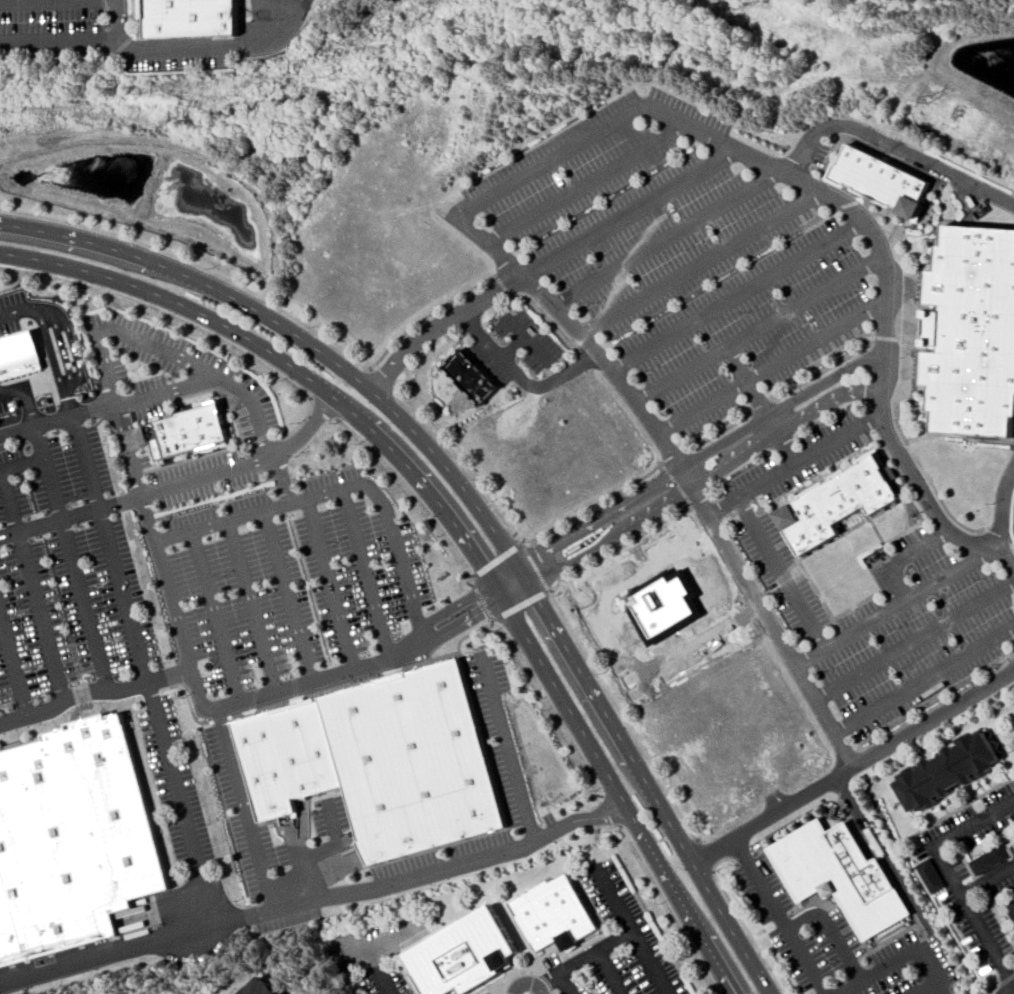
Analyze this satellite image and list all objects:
road: (48, 2)
parking lot: (51, 15)
building: (195, 18)
road: (116, 21)
road: (59, 44)
road: (219, 45)
power tower: (324, 74)
power tower: (930, 98)
road: (894, 145)
building: (887, 182)
road: (586, 183)
road: (461, 214)
road: (632, 214)
road: (668, 240)
parking lot: (687, 255)
road: (702, 264)
road: (737, 296)
road: (265, 299)
road: (18, 310)
road: (548, 316)
road: (442, 324)
road: (193, 326)
road: (758, 332)
building: (974, 333)
road: (889, 338)
road: (528, 342)
road: (72, 346)
road: (903, 346)
road: (61, 348)
parking lot: (519, 348)
road: (515, 349)
road: (50, 352)
road: (169, 354)
building: (19, 356)
road: (772, 370)
road: (825, 370)
parking lot: (174, 372)
road: (354, 377)
building: (476, 377)
road: (521, 377)
road: (382, 380)
road: (143, 398)
road: (23, 399)
road: (338, 402)
road: (763, 404)
road: (324, 407)
road: (764, 407)
road: (67, 409)
road: (34, 429)
building: (189, 431)
road: (719, 431)
road: (672, 457)
road: (20, 463)
road: (688, 464)
road: (796, 467)
road: (134, 474)
parking lot: (201, 478)
road: (281, 478)
road: (177, 484)
road: (676, 484)
road: (692, 486)
road: (416, 498)
building: (840, 502)
road: (1003, 509)
road: (253, 512)
road: (511, 527)
road: (997, 537)
road: (1013, 546)
road: (620, 547)
road: (899, 559)
road: (498, 560)
road: (69, 561)
road: (536, 566)
road: (366, 573)
road: (782, 573)
parking lot: (64, 574)
parking lot: (938, 580)
parking lot: (292, 581)
road: (330, 584)
road: (31, 592)
road: (286, 596)
road: (482, 599)
road: (522, 604)
building: (658, 604)
road: (455, 605)
road: (895, 605)
road: (251, 606)
road: (212, 617)
road: (466, 621)
road: (126, 623)
road: (461, 639)
road: (914, 641)
road: (12, 673)
road: (924, 682)
road: (295, 687)
road: (148, 694)
road: (81, 695)
road: (186, 701)
road: (68, 713)
road: (623, 718)
road: (218, 719)
building: (305, 748)
building: (413, 762)
building: (262, 767)
building: (947, 771)
parking lot: (511, 780)
parking lot: (172, 784)
road: (152, 792)
road: (609, 810)
parking lot: (241, 812)
road: (771, 812)
parking lot: (330, 817)
parking lot: (548, 818)
road: (579, 819)
road: (680, 838)
building: (72, 839)
road: (647, 845)
road: (741, 850)
road: (705, 853)
building: (987, 859)
road: (888, 863)
building: (841, 873)
building: (930, 876)
road: (950, 878)
road: (396, 882)
road: (988, 882)
road: (662, 898)
road: (199, 901)
building: (1012, 907)
road: (992, 910)
building: (557, 914)
road: (739, 916)
road: (230, 919)
road: (633, 929)
road: (786, 929)
road: (832, 931)
parking lot: (842, 946)
parking lot: (611, 948)
parking lot: (380, 951)
building: (466, 953)
road: (586, 958)
road: (896, 962)
road: (372, 968)
road: (611, 972)
road: (1004, 978)
road: (528, 982)
road: (566, 984)
building: (258, 987)
road: (926, 988)
road: (939, 988)
road: (990, 988)
road: (950, 990)
parking lot: (487, 993)

